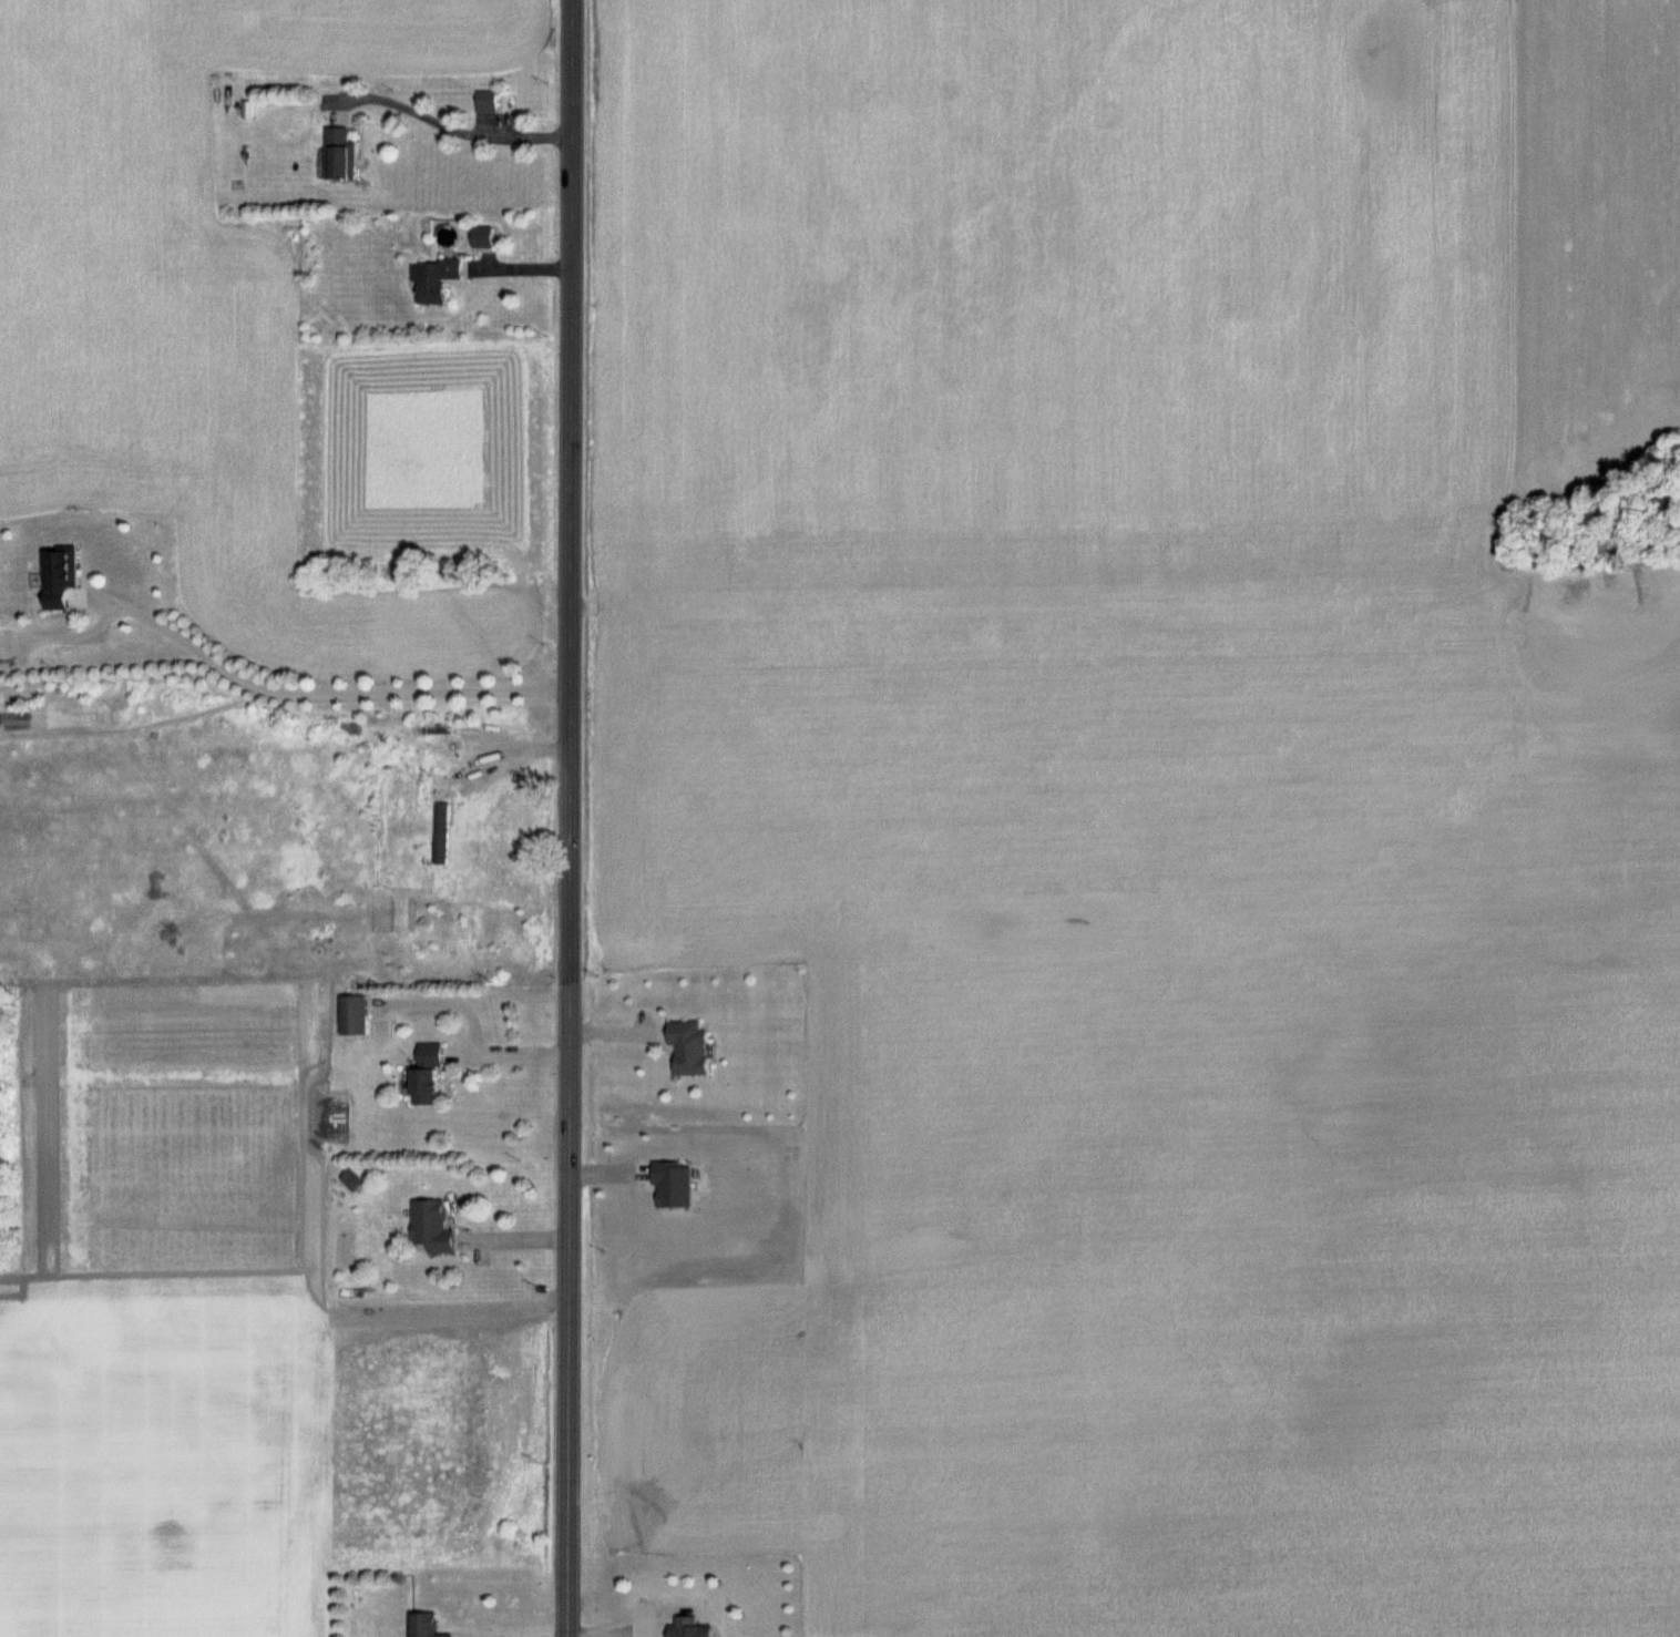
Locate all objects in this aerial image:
building: (486, 102)
road: (451, 127)
building: (340, 153)
building: (437, 278)
road: (568, 485)
building: (58, 575)
road: (324, 690)
building: (440, 785)
building: (442, 832)
building: (354, 1014)
road: (486, 1035)
building: (696, 1044)
building: (436, 1054)
building: (429, 1092)
building: (358, 1180)
building: (438, 1231)
road: (567, 1303)
building: (430, 1627)
building: (698, 1628)

